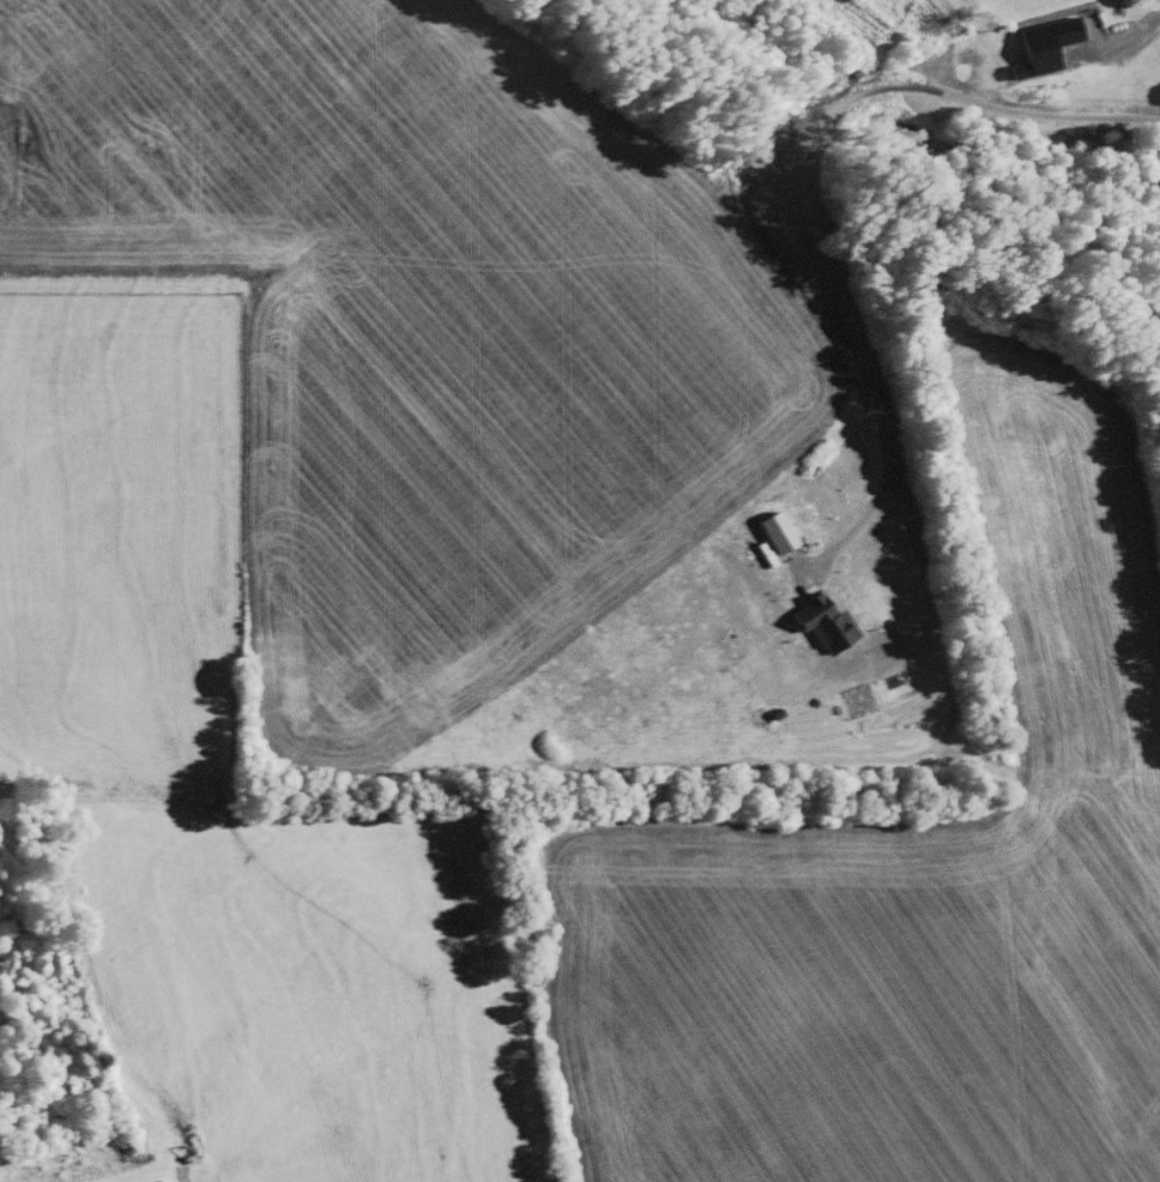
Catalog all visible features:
road: (1128, 34)
building: (1039, 43)
road: (853, 91)
road: (1010, 110)
road: (854, 333)

